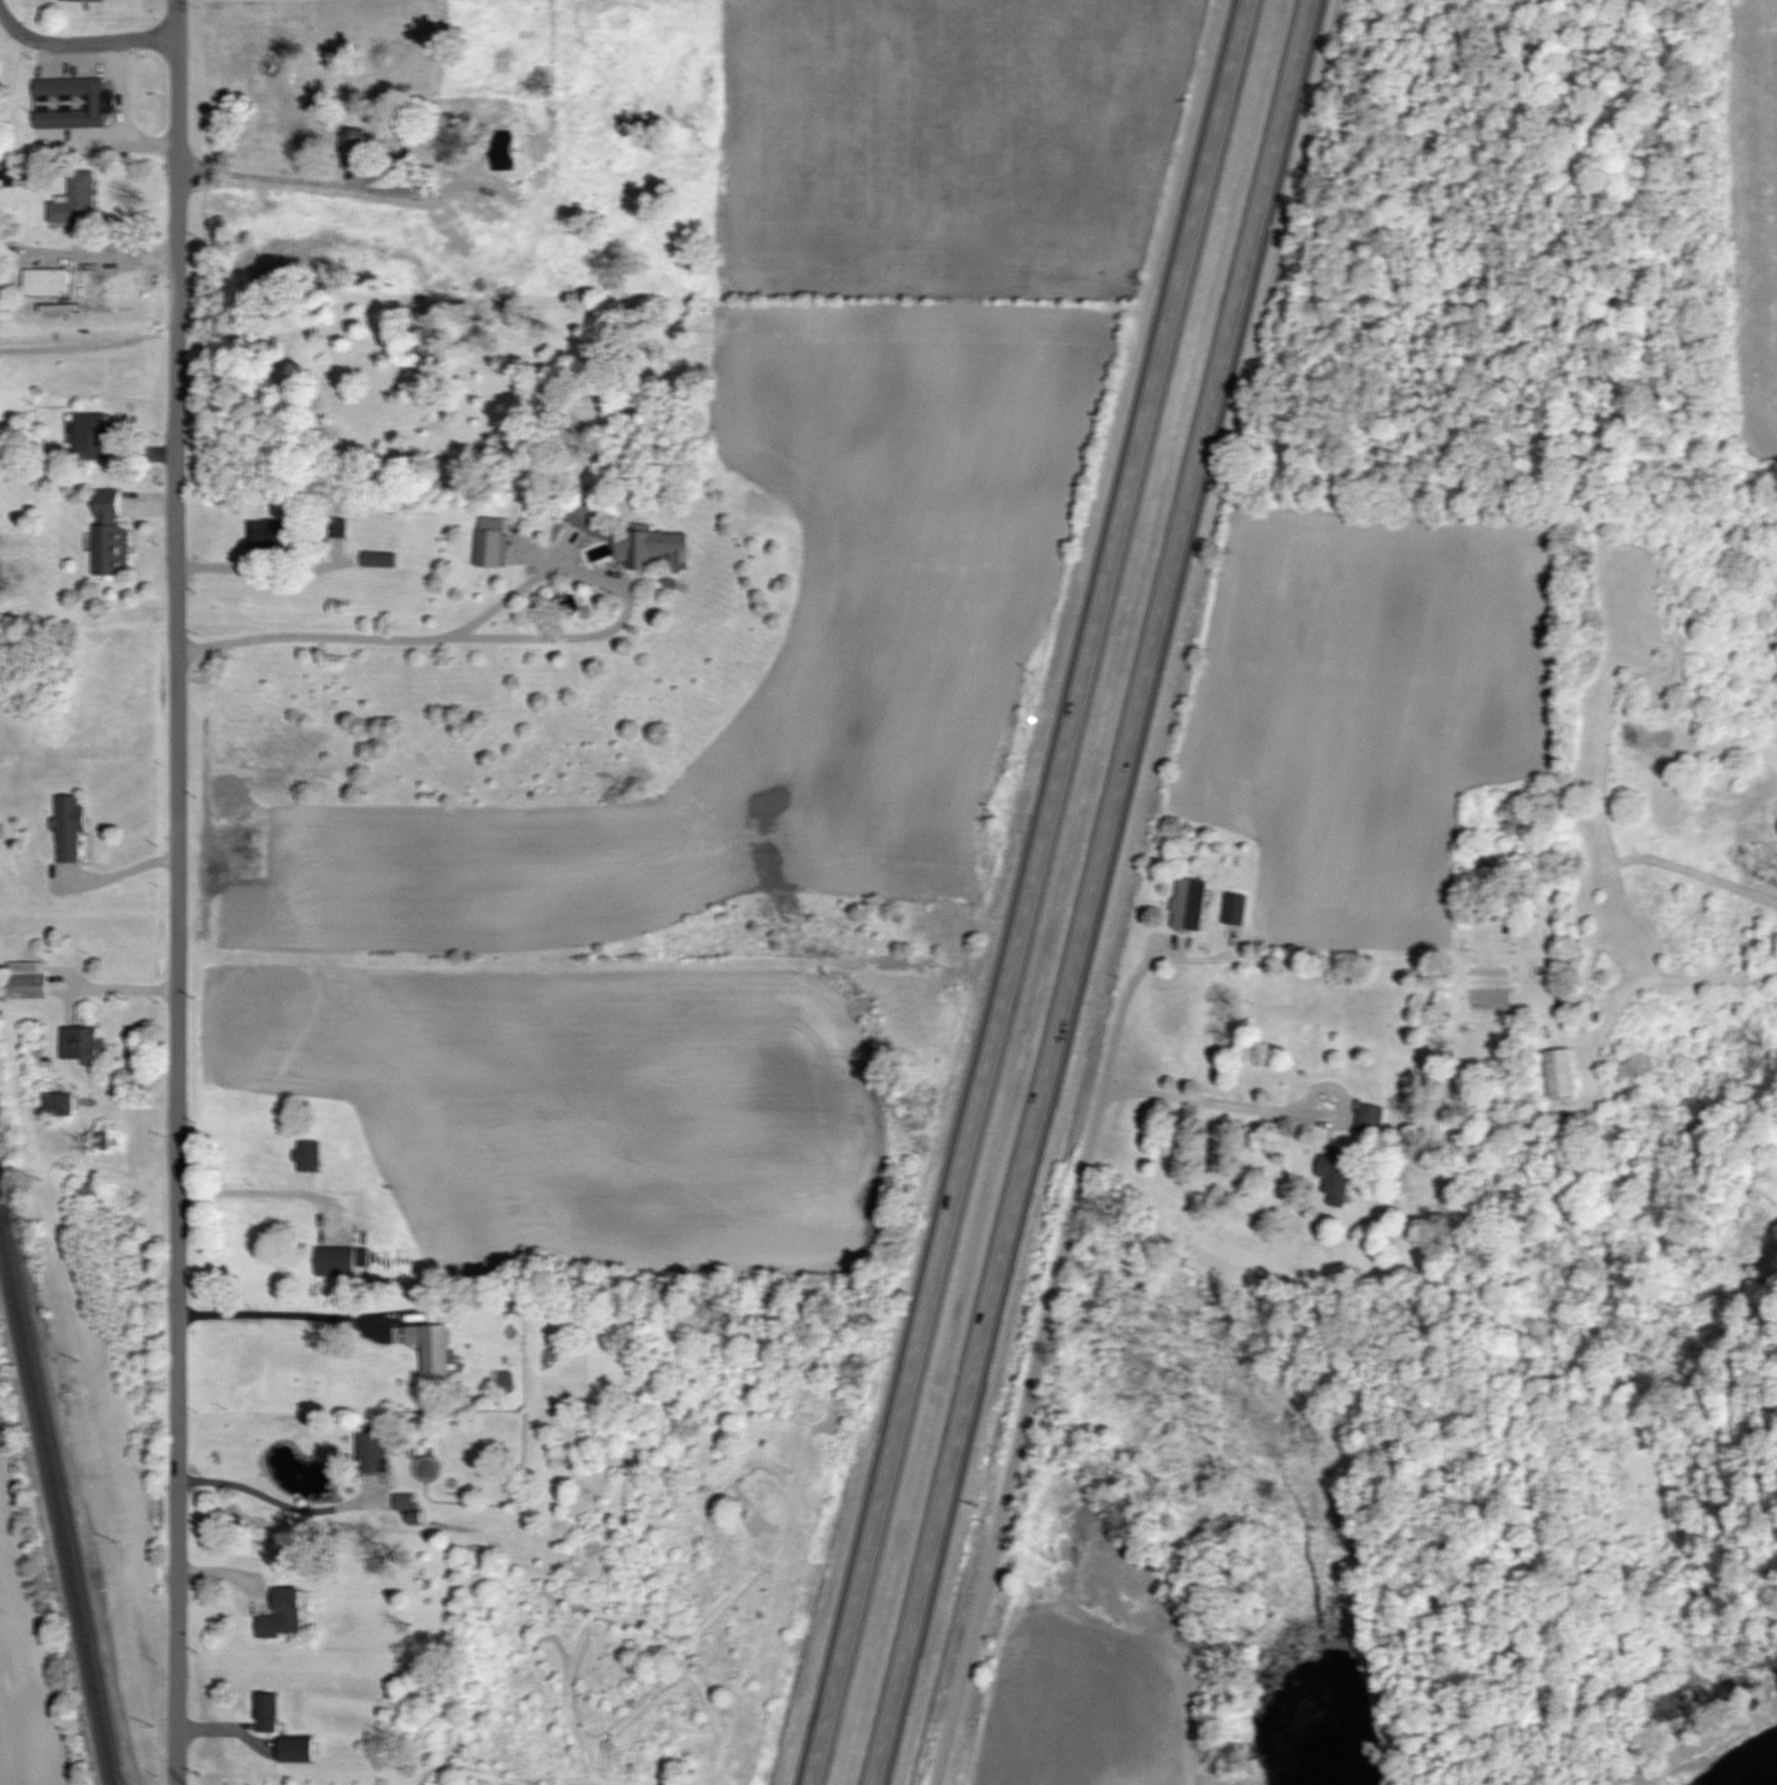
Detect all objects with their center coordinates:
building: (82, 0)
road: (83, 43)
building: (356, 143)
road: (312, 177)
building: (76, 202)
building: (47, 283)
building: (93, 436)
building: (588, 519)
building: (111, 541)
building: (492, 543)
building: (651, 547)
building: (380, 560)
road: (253, 570)
road: (518, 638)
building: (71, 827)
road: (1087, 891)
road: (178, 892)
road: (1025, 892)
building: (1189, 903)
building: (1235, 909)
building: (28, 980)
building: (81, 1043)
building: (1561, 1073)
building: (61, 1104)
road: (1251, 1109)
building: (311, 1156)
building: (1336, 1176)
road: (254, 1194)
building: (337, 1261)
road: (268, 1315)
building: (432, 1348)
road: (1040, 1359)
building: (373, 1453)
road: (264, 1489)
building: (405, 1502)
railway: (57, 1509)
building: (283, 1615)
building: (270, 1714)
building: (300, 1751)

